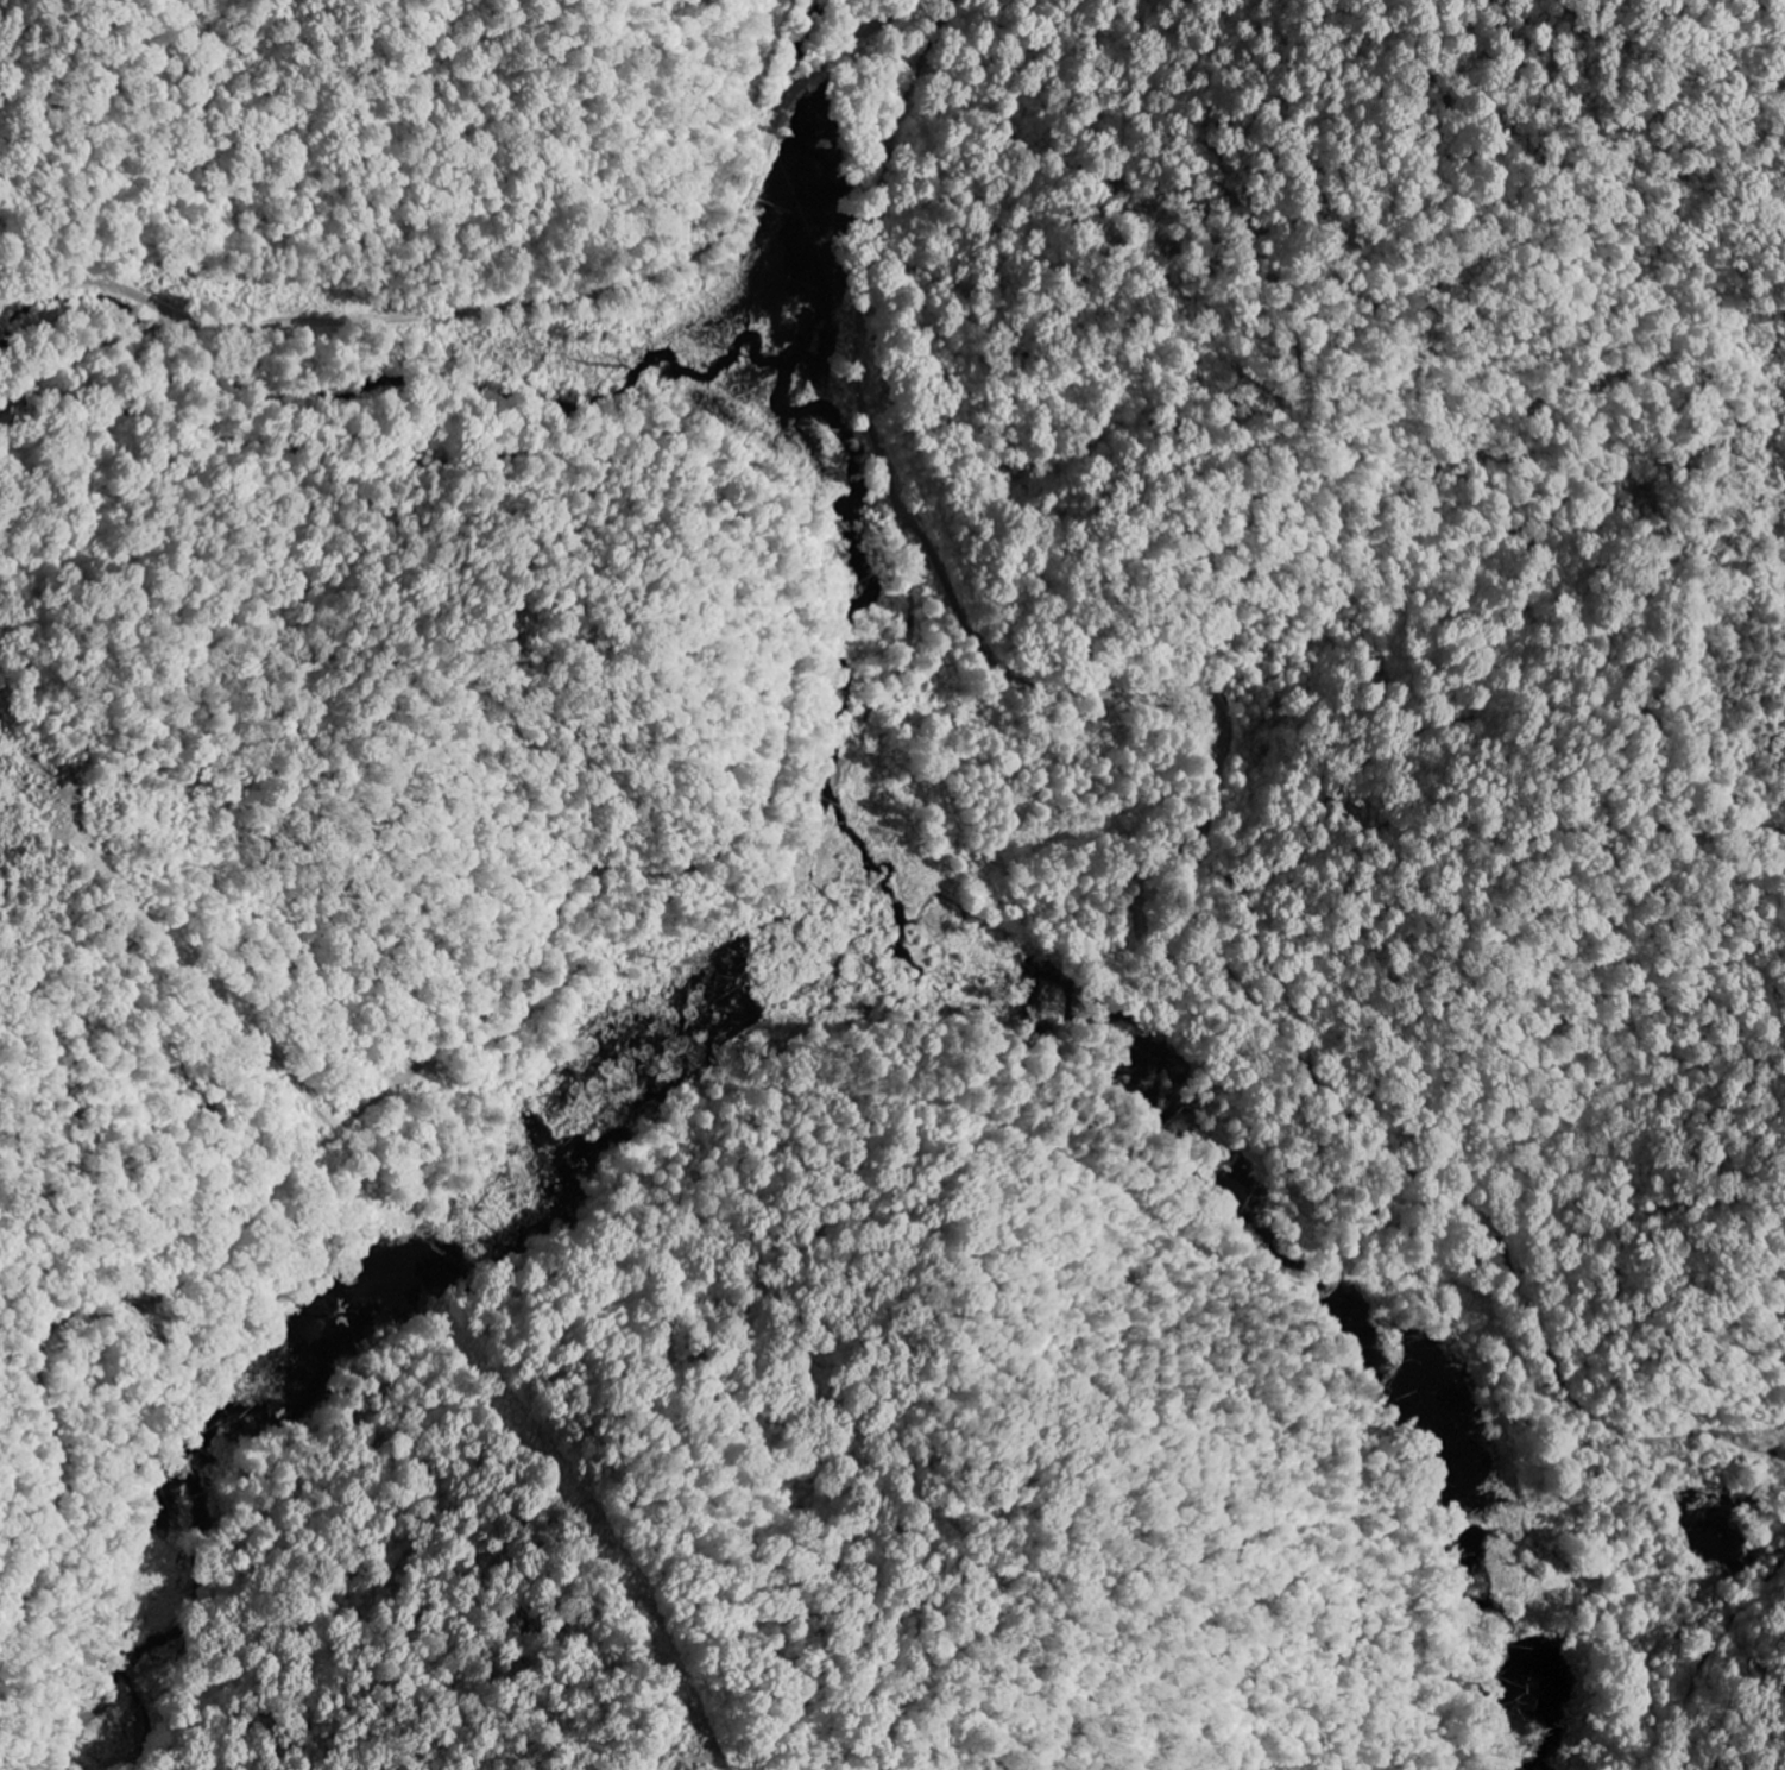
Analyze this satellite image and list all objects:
road: (37, 285)
road: (560, 298)
road: (206, 1632)

